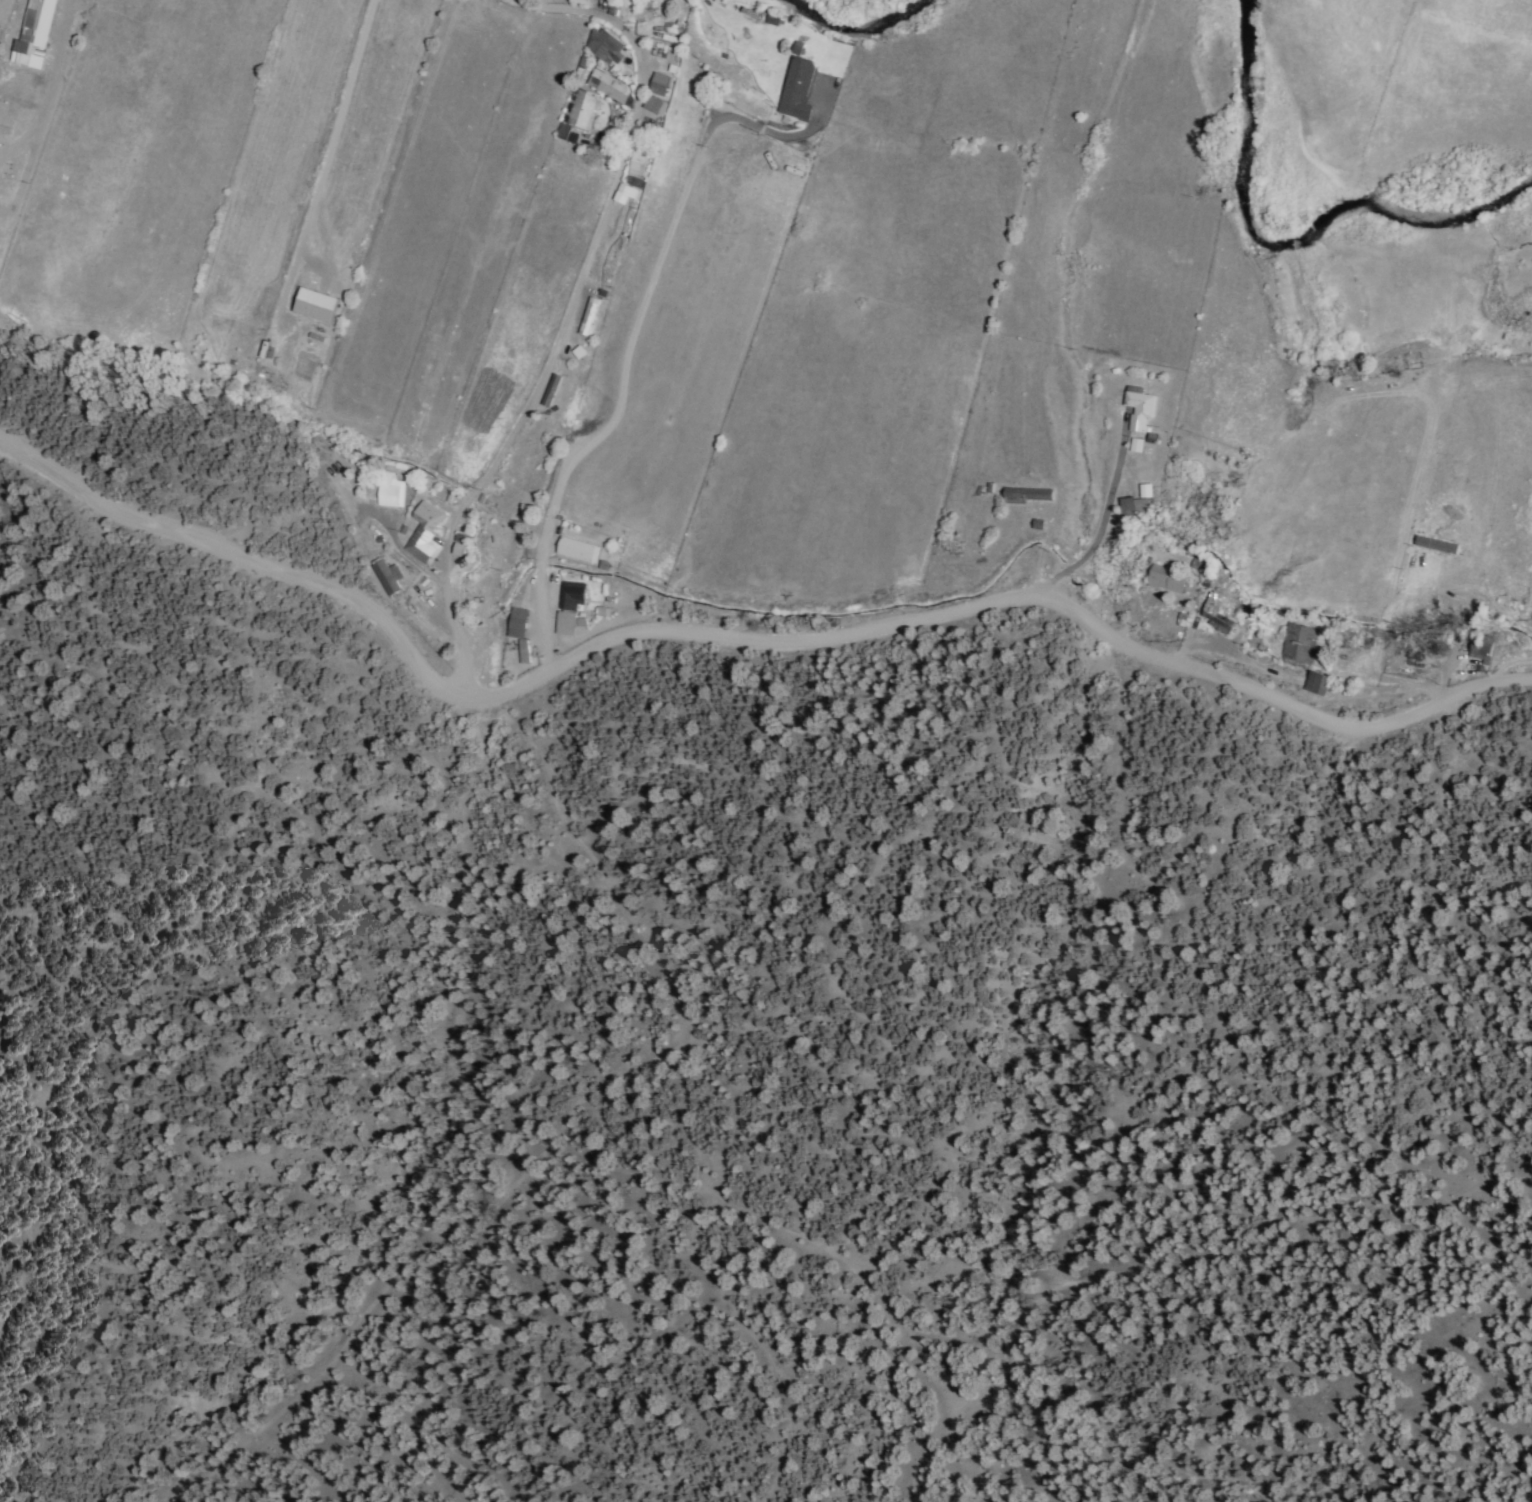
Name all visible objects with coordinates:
building: (584, 1)
river: (857, 20)
building: (35, 34)
building: (607, 45)
building: (661, 83)
building: (613, 86)
building: (798, 88)
building: (655, 104)
building: (583, 107)
building: (570, 132)
building: (639, 165)
building: (626, 192)
river: (1285, 240)
building: (319, 304)
road: (640, 311)
road: (566, 312)
building: (591, 315)
building: (554, 389)
building: (1141, 406)
building: (1138, 443)
building: (391, 489)
building: (1147, 489)
building: (1129, 505)
road: (1522, 516)
building: (425, 533)
building: (462, 542)
building: (1434, 544)
building: (581, 548)
building: (388, 575)
building: (1169, 579)
building: (573, 594)
building: (1219, 613)
building: (519, 621)
building: (570, 621)
road: (741, 637)
building: (1299, 642)
building: (1483, 647)
building: (524, 650)
building: (1319, 681)

